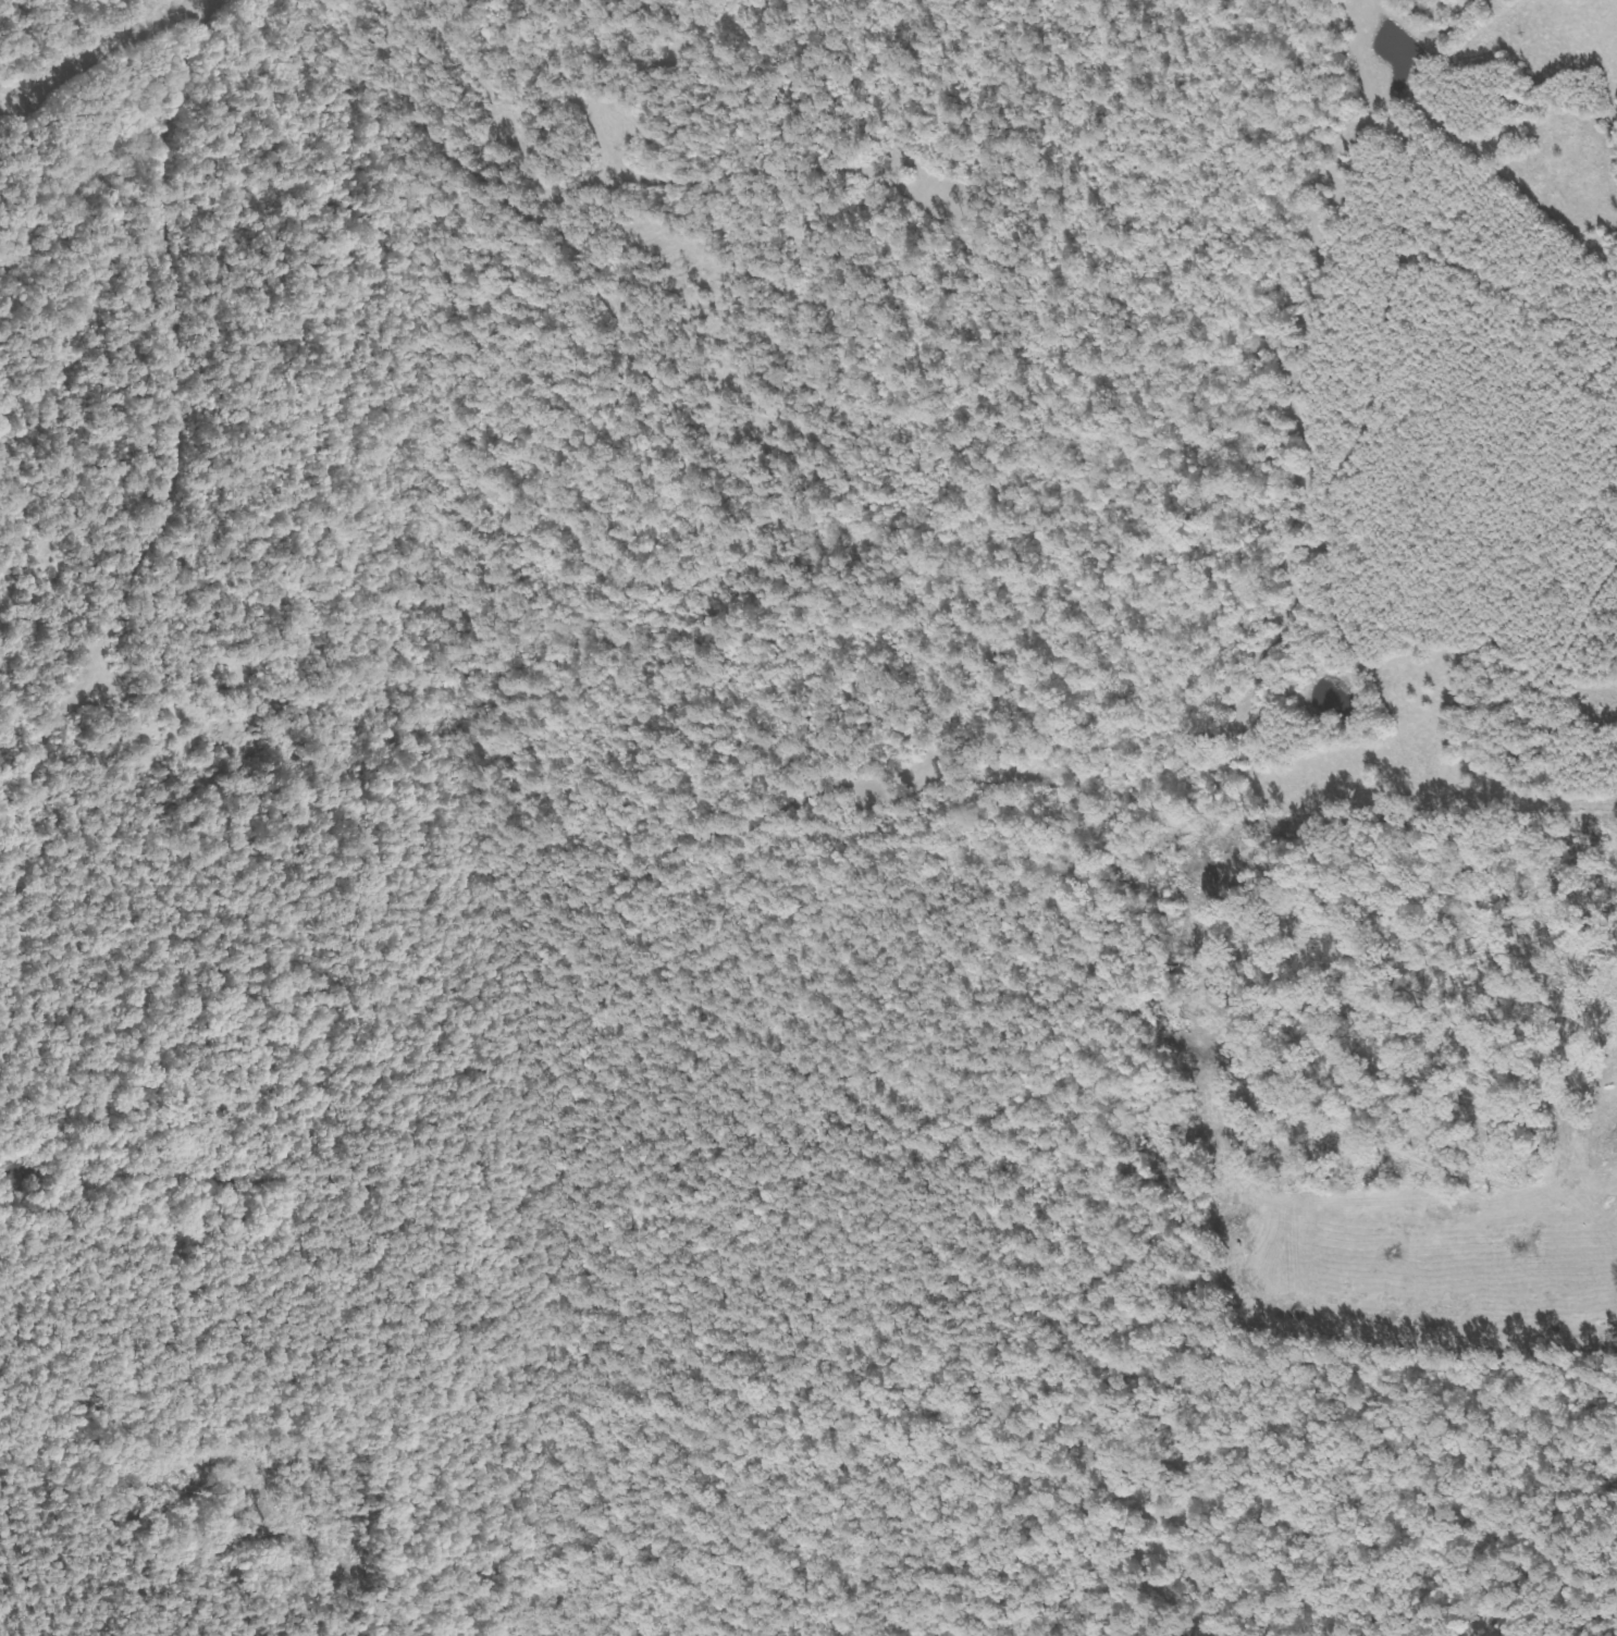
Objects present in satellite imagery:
building: (21, 1172)

